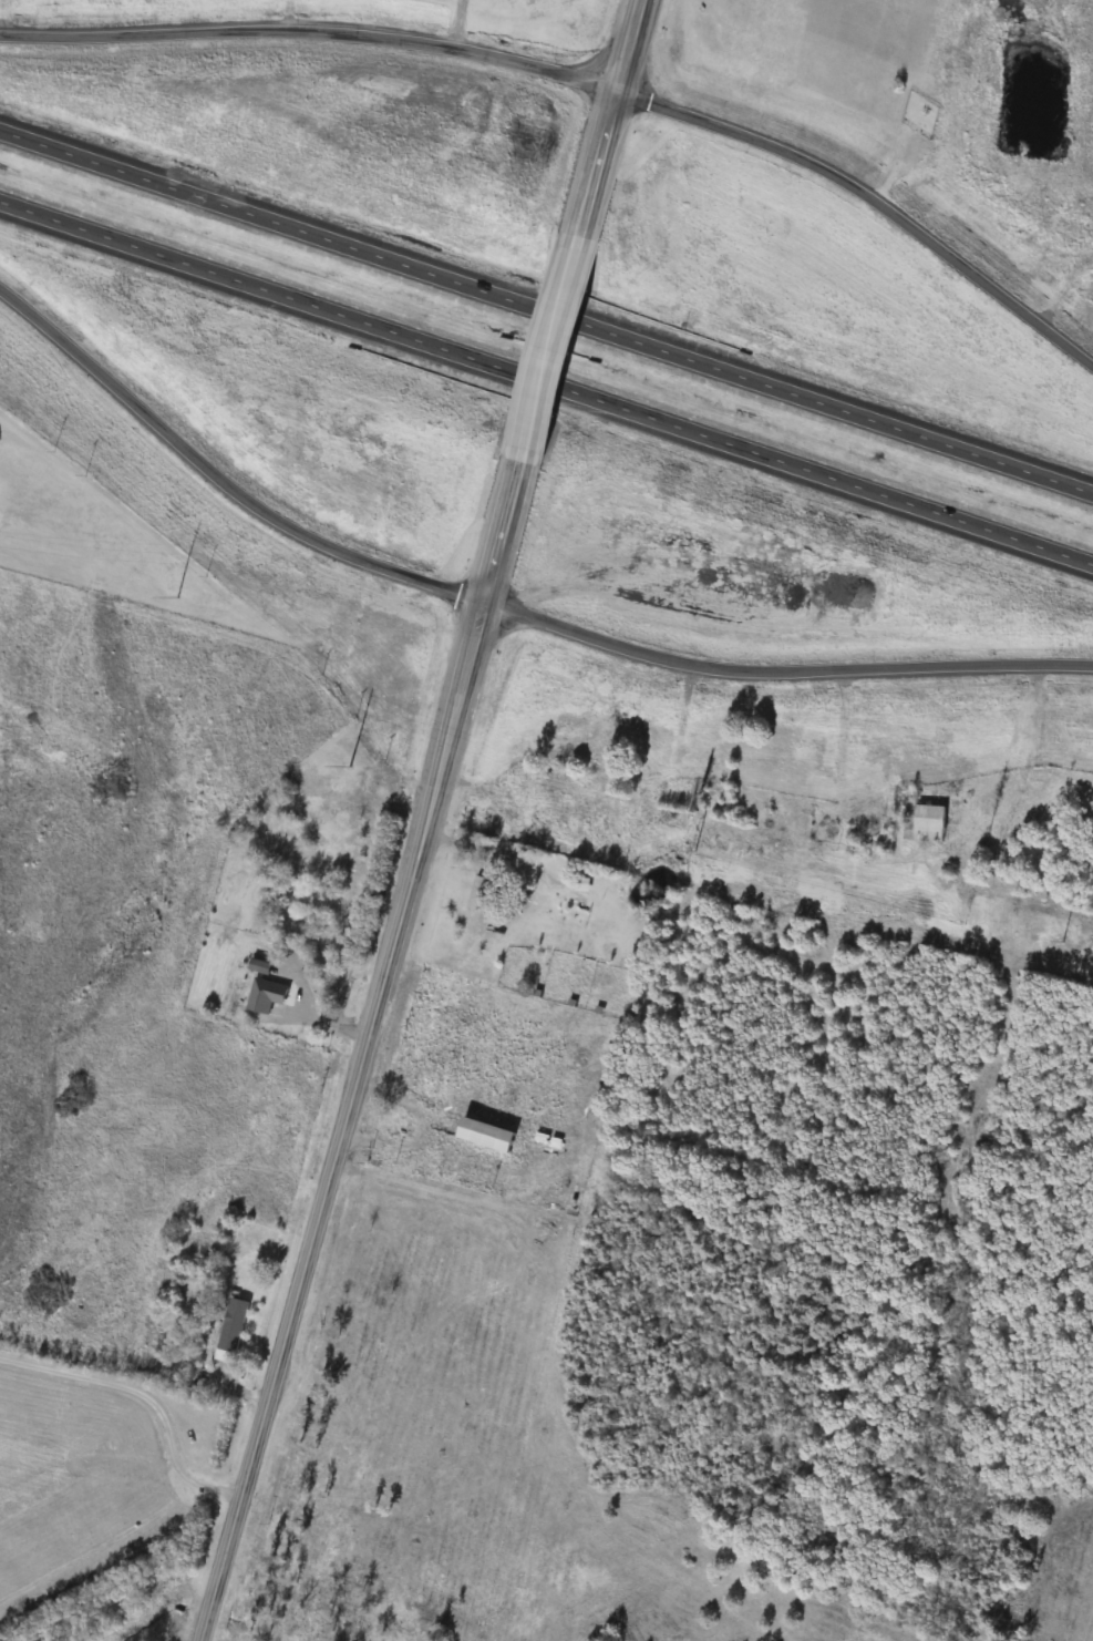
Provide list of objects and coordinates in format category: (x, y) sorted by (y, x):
road: (311, 23)
road: (609, 117)
road: (870, 195)
road: (546, 310)
road: (547, 348)
road: (546, 381)
road: (219, 478)
power tower: (177, 597)
road: (781, 671)
power tower: (350, 765)
building: (925, 822)
road: (486, 844)
power tower: (694, 851)
building: (293, 892)
building: (477, 892)
power tower: (1063, 941)
road: (360, 1052)
building: (473, 1145)
building: (197, 1248)
building: (230, 1329)
road: (145, 1395)

